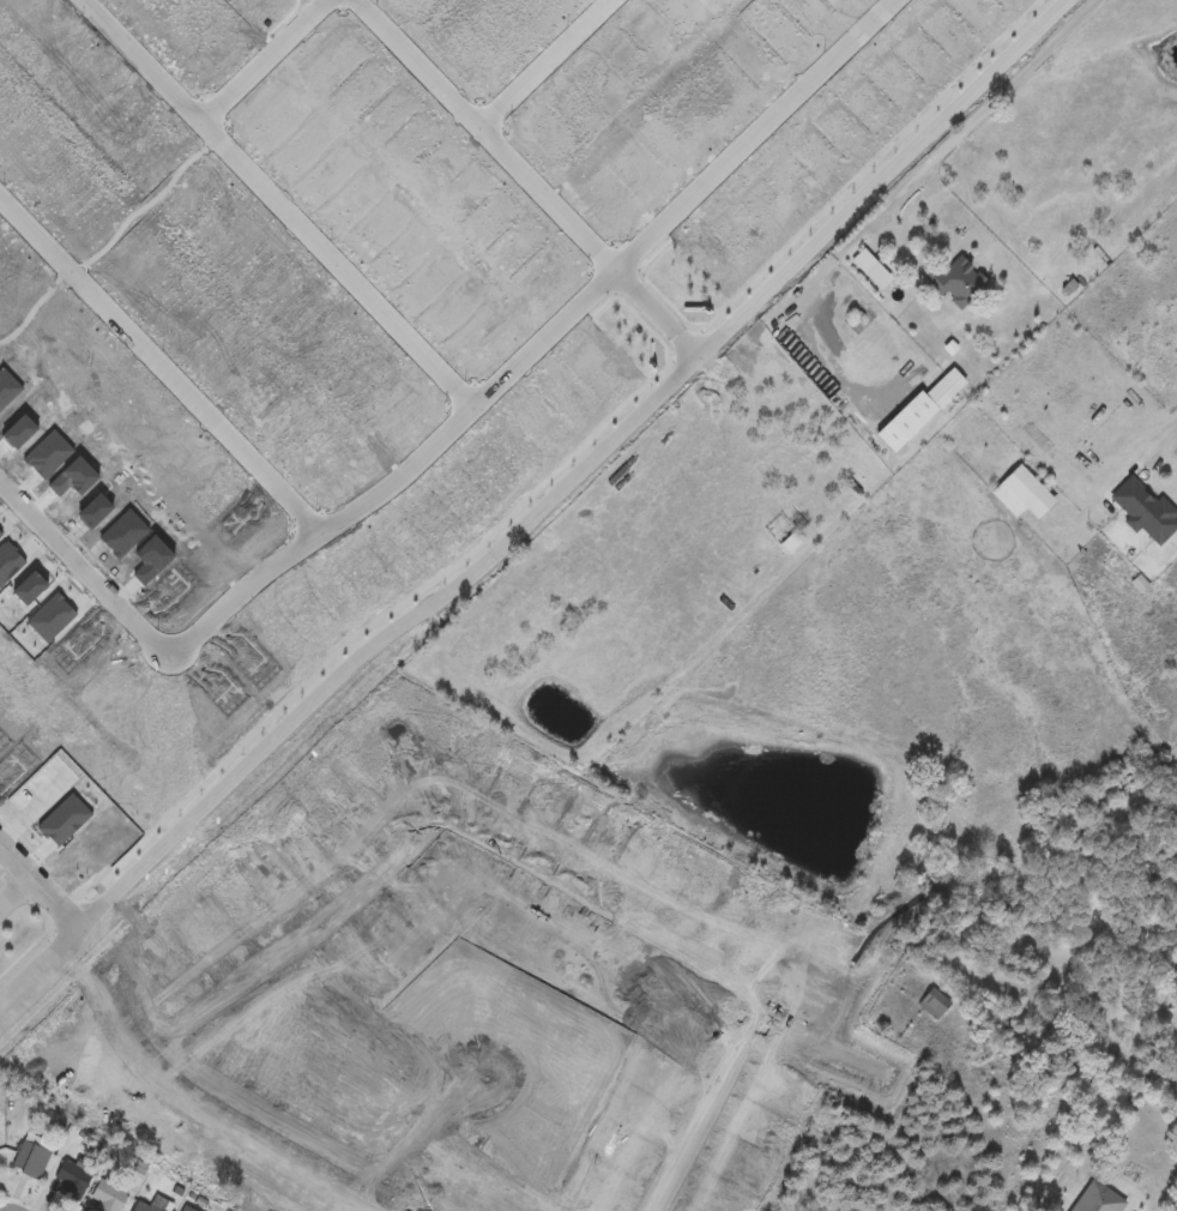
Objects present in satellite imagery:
road: (270, 59)
road: (550, 62)
road: (971, 120)
road: (535, 177)
road: (288, 201)
road: (861, 227)
building: (865, 263)
building: (958, 283)
road: (807, 284)
road: (550, 333)
road: (164, 361)
building: (947, 390)
road: (1143, 439)
road: (583, 470)
building: (1024, 495)
building: (1147, 513)
building: (793, 543)
road: (90, 571)
road: (13, 886)
road: (42, 887)
road: (42, 969)
building: (936, 1006)
building: (29, 1157)
building: (70, 1176)
building: (107, 1194)
building: (1099, 1199)
building: (144, 1207)
building: (187, 1207)

